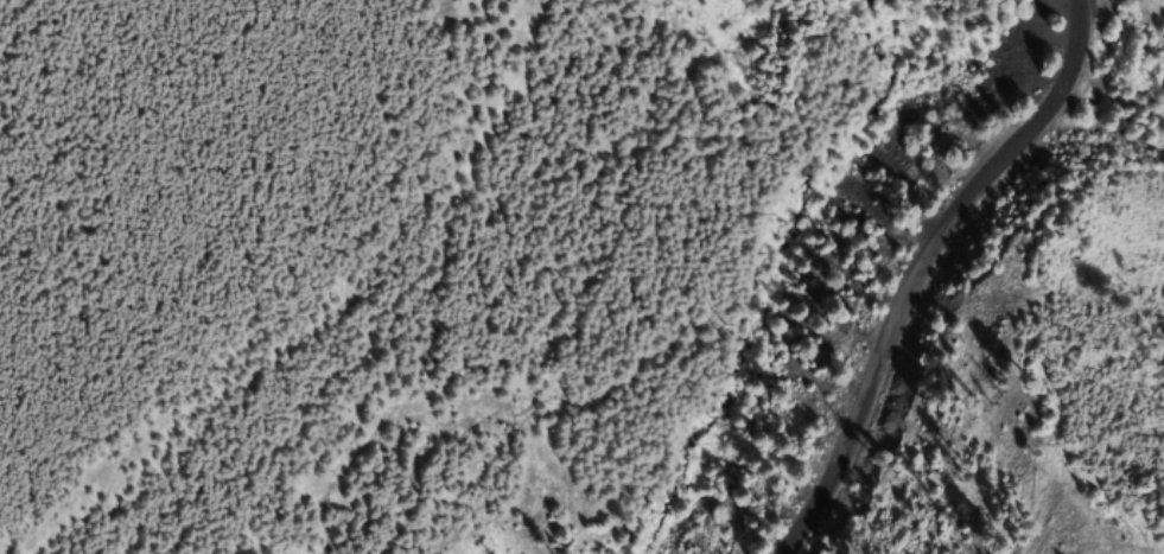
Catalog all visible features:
road: (853, 265)

